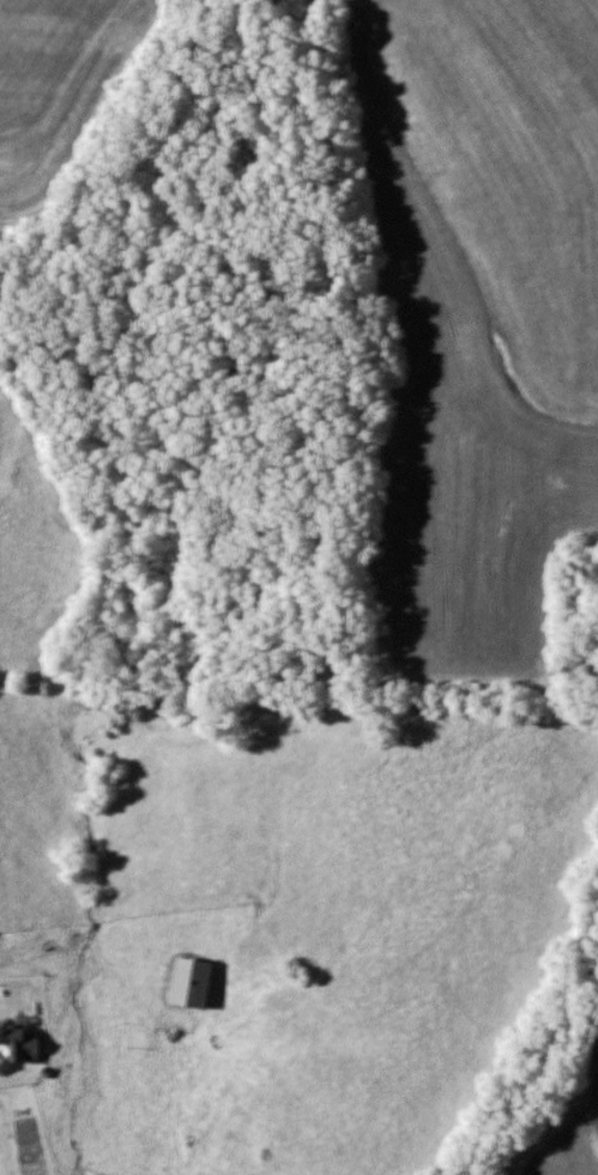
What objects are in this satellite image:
building: (188, 986)
building: (19, 1047)

